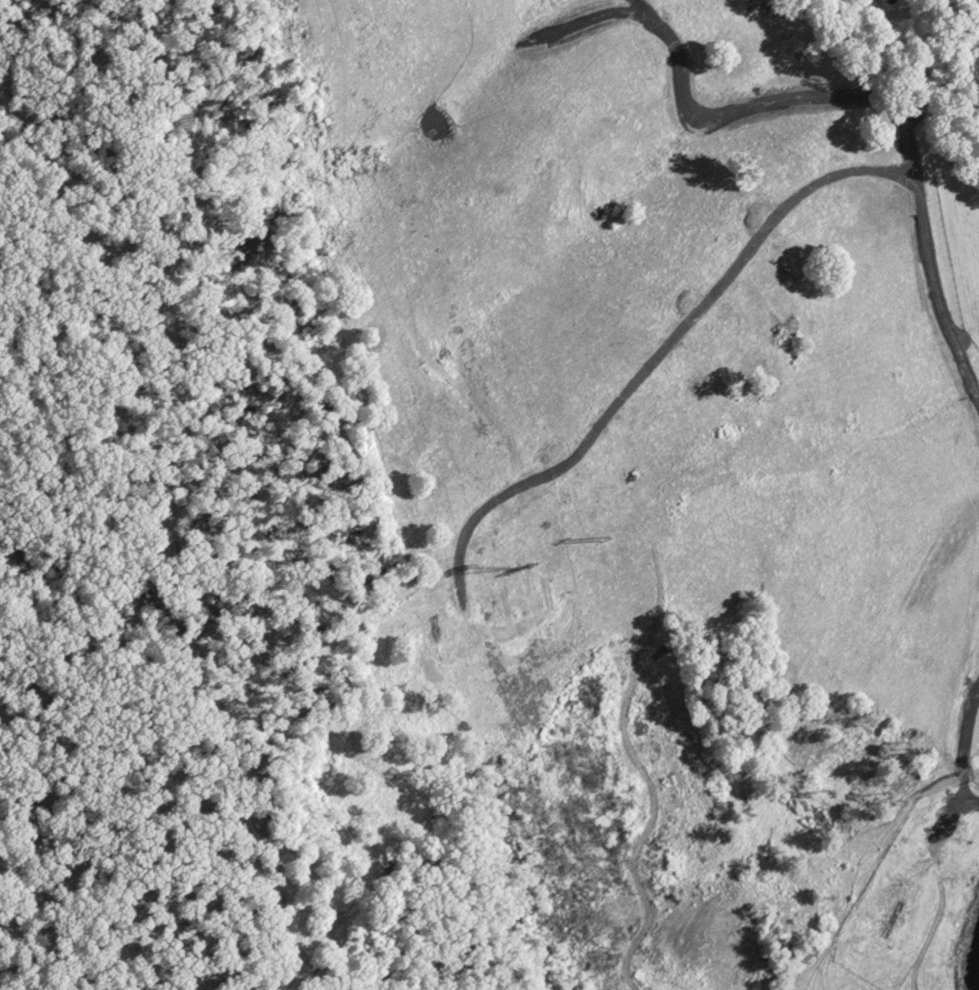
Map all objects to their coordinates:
power tower: (610, 536)
power tower: (515, 568)
building: (898, 918)

